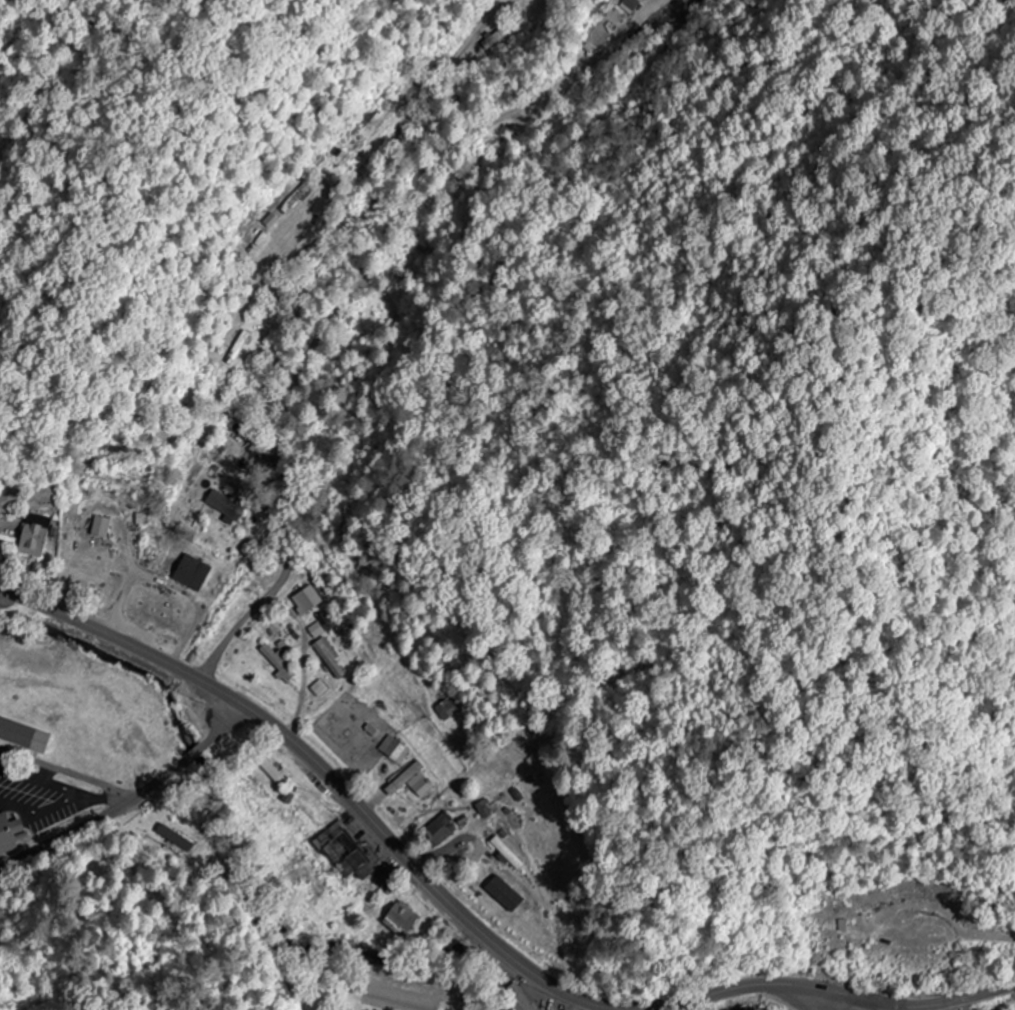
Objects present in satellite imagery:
building: (496, 39)
road: (446, 74)
road: (352, 79)
building: (366, 117)
building: (347, 151)
building: (238, 349)
road: (275, 416)
building: (225, 506)
building: (100, 527)
building: (34, 536)
building: (190, 573)
building: (307, 600)
building: (316, 631)
building: (330, 659)
building: (277, 663)
building: (319, 689)
building: (447, 710)
building: (23, 736)
building: (393, 750)
road: (319, 769)
road: (70, 773)
building: (413, 794)
road: (131, 805)
building: (440, 829)
building: (9, 832)
building: (344, 854)
building: (508, 854)
building: (387, 881)
building: (401, 919)
building: (521, 1000)
road: (803, 1001)
road: (852, 1001)

